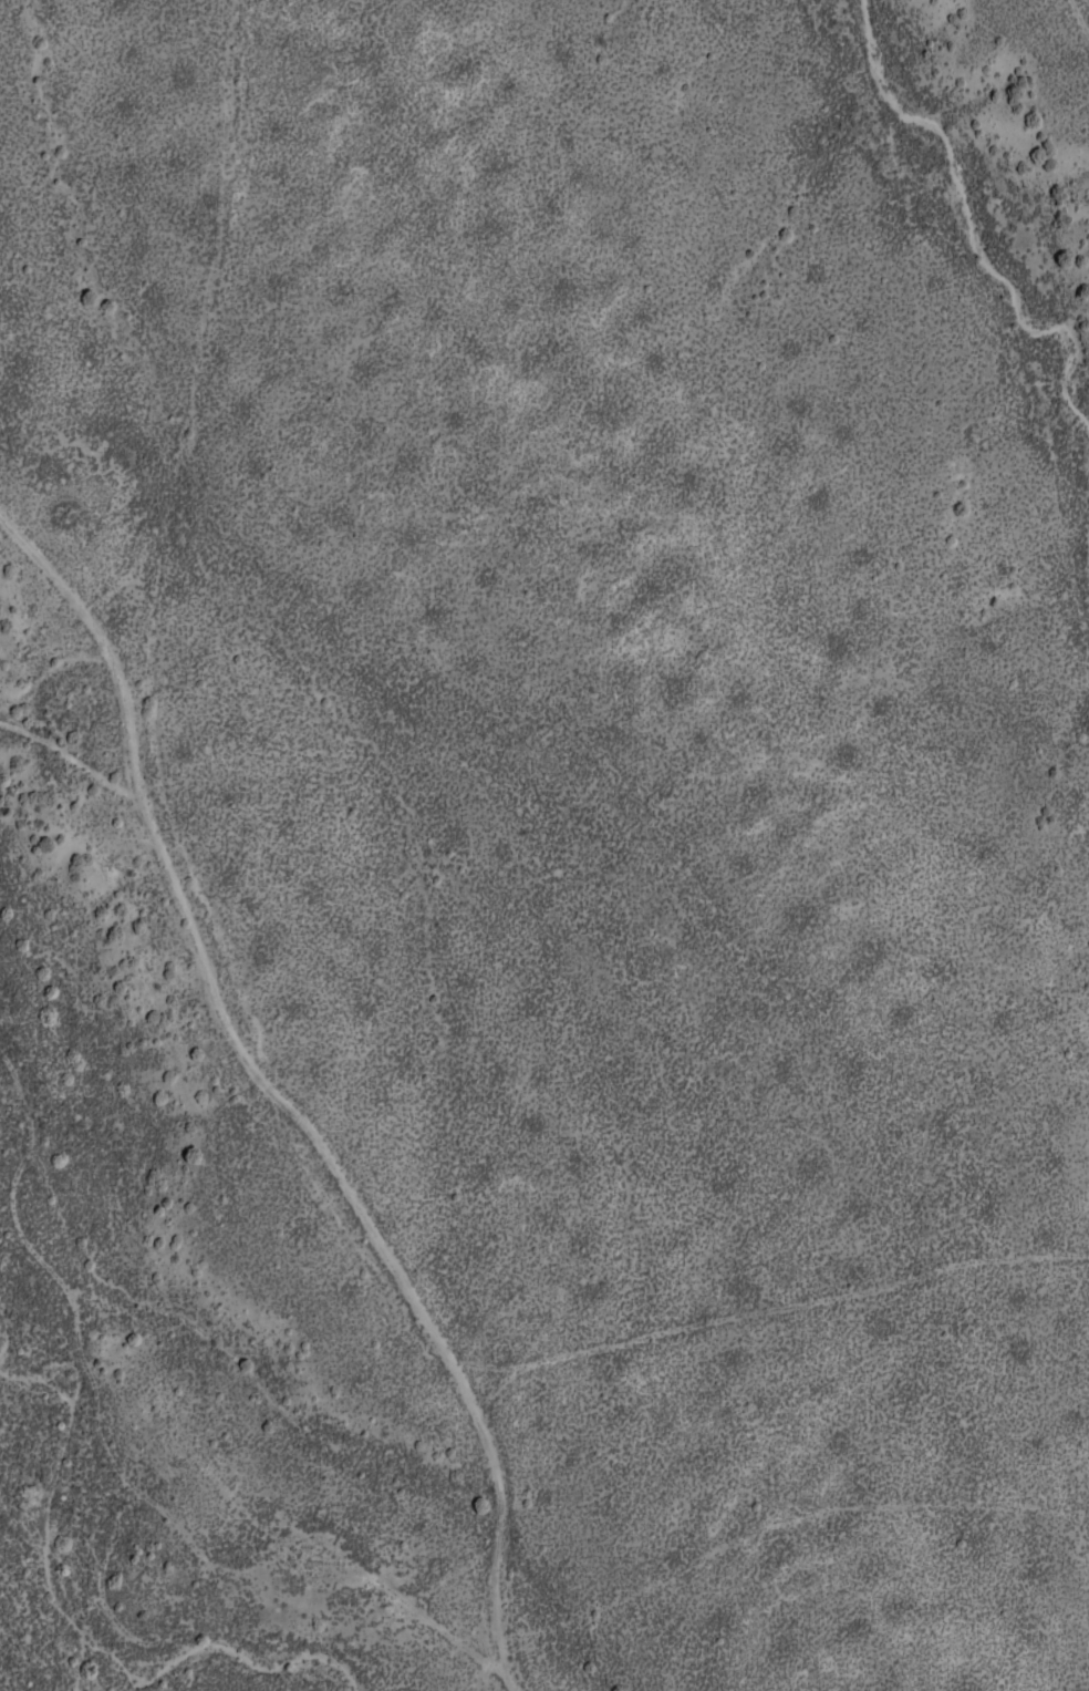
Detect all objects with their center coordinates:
road: (281, 1093)

